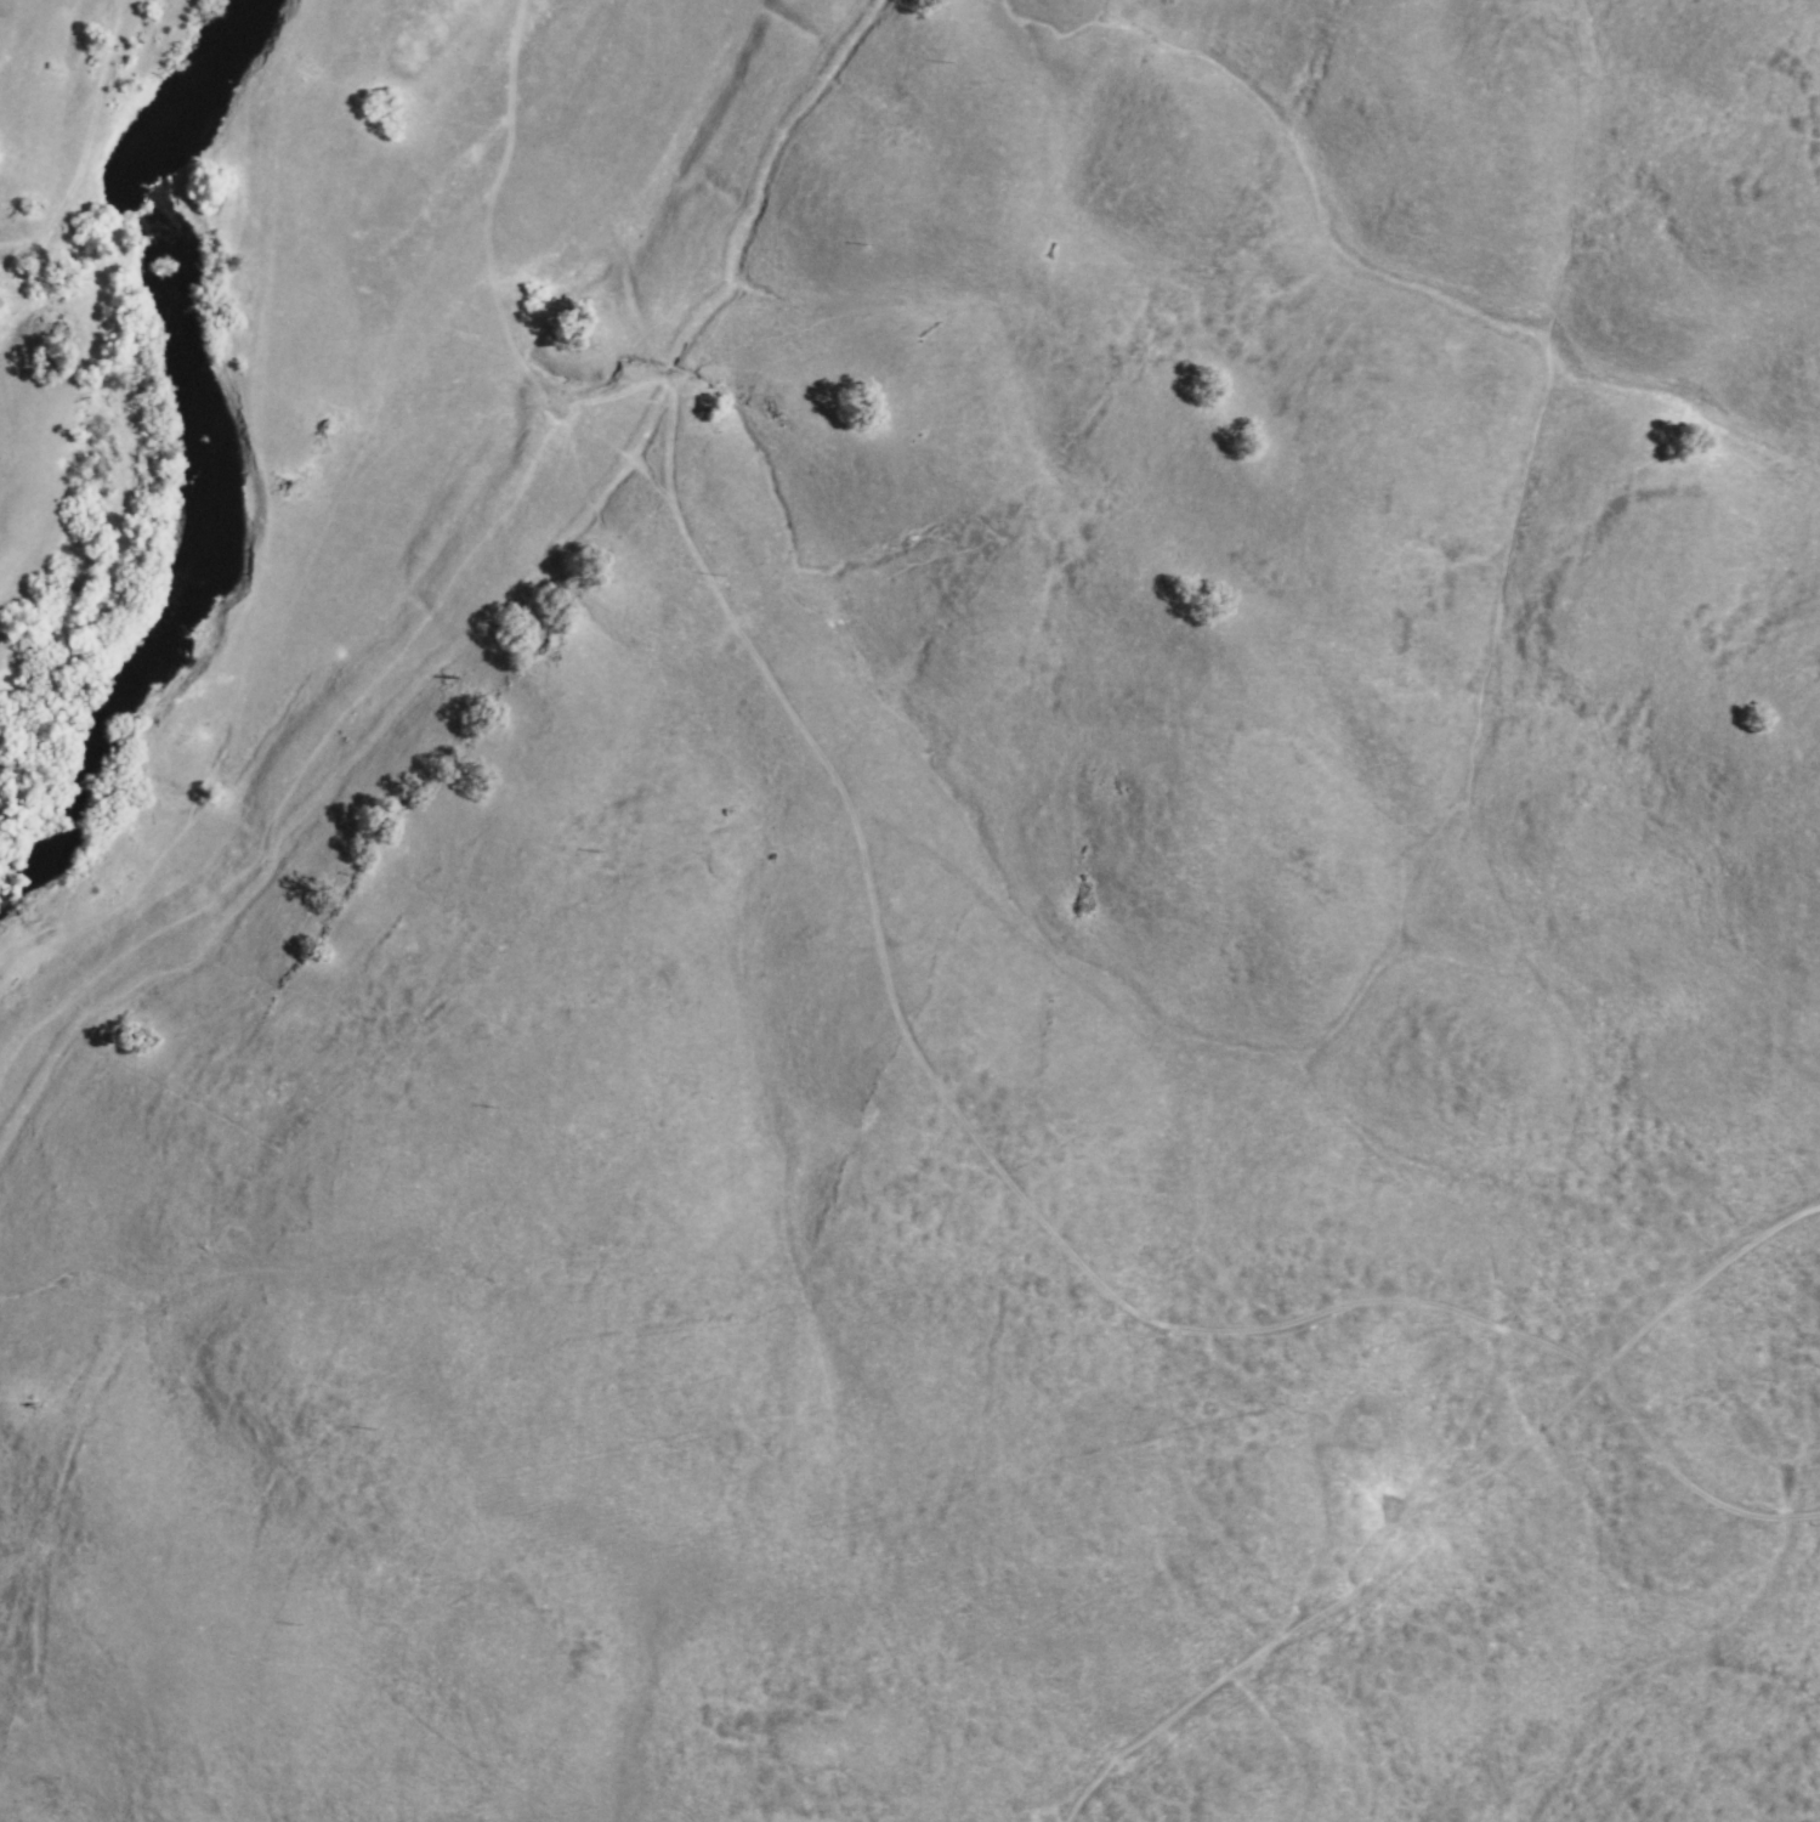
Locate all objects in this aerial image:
river: (192, 448)

